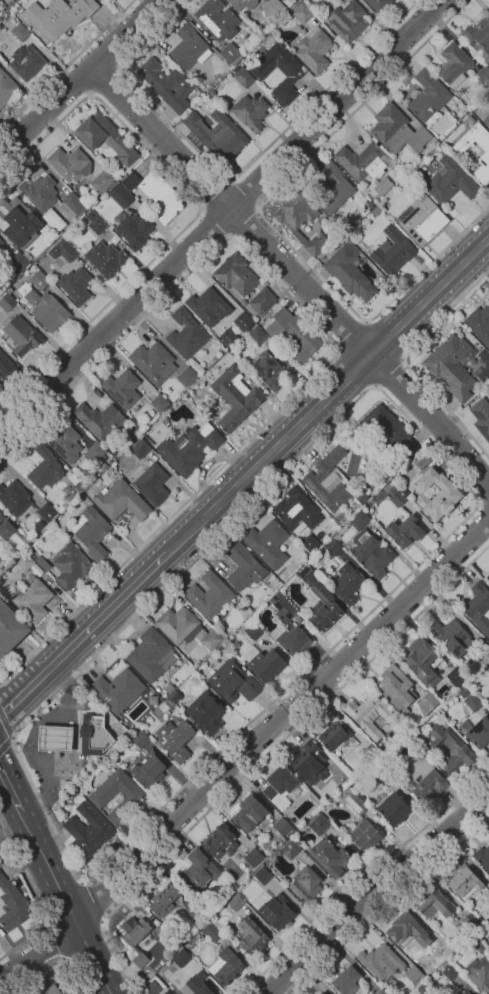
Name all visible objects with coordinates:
building: (8, 1)
building: (488, 1)
building: (289, 2)
building: (245, 4)
building: (378, 5)
building: (272, 11)
building: (302, 13)
building: (59, 16)
building: (216, 19)
building: (348, 21)
building: (20, 31)
building: (479, 37)
road: (112, 45)
building: (189, 48)
building: (314, 49)
building: (231, 54)
building: (26, 61)
building: (454, 64)
road: (66, 65)
building: (228, 65)
building: (294, 74)
building: (243, 77)
building: (483, 77)
road: (81, 78)
road: (104, 80)
road: (75, 81)
building: (166, 84)
building: (204, 86)
building: (7, 87)
building: (213, 93)
building: (428, 98)
building: (488, 110)
building: (250, 112)
building: (486, 121)
building: (397, 130)
building: (217, 134)
building: (105, 136)
road: (158, 140)
building: (438, 153)
building: (486, 154)
building: (362, 160)
building: (70, 164)
building: (118, 171)
road: (232, 176)
building: (102, 181)
building: (450, 181)
building: (405, 182)
building: (382, 186)
building: (332, 188)
building: (156, 193)
road: (214, 194)
road: (244, 194)
building: (120, 195)
building: (43, 199)
building: (75, 203)
road: (199, 208)
building: (376, 211)
road: (221, 215)
building: (17, 217)
building: (423, 220)
road: (264, 221)
building: (301, 221)
building: (95, 223)
road: (214, 223)
road: (242, 223)
building: (133, 229)
building: (1, 241)
building: (78, 241)
building: (31, 248)
building: (392, 251)
building: (104, 258)
building: (17, 263)
building: (349, 271)
building: (72, 273)
building: (238, 275)
building: (40, 280)
building: (9, 290)
building: (488, 298)
building: (262, 300)
building: (7, 302)
building: (208, 306)
building: (45, 308)
road: (444, 314)
building: (243, 320)
building: (479, 324)
building: (186, 333)
building: (21, 335)
building: (257, 336)
building: (294, 336)
road: (353, 336)
building: (230, 337)
road: (387, 338)
road: (360, 344)
road: (337, 349)
building: (153, 362)
building: (450, 366)
building: (6, 367)
building: (196, 367)
building: (268, 370)
road: (353, 371)
road: (389, 374)
building: (187, 376)
building: (122, 388)
road: (328, 396)
building: (236, 397)
building: (160, 403)
road: (446, 407)
building: (136, 408)
building: (481, 417)
building: (100, 420)
building: (397, 434)
building: (64, 440)
building: (141, 448)
building: (189, 448)
building: (228, 448)
building: (95, 453)
building: (115, 454)
building: (424, 462)
building: (114, 463)
building: (104, 465)
building: (45, 468)
building: (113, 474)
building: (76, 481)
building: (151, 482)
building: (335, 483)
building: (436, 493)
road: (483, 499)
building: (16, 500)
building: (121, 500)
building: (396, 500)
building: (296, 511)
road: (483, 511)
building: (47, 512)
building: (360, 520)
building: (5, 528)
building: (92, 531)
building: (404, 531)
building: (26, 539)
building: (269, 543)
building: (310, 543)
building: (333, 546)
building: (370, 552)
building: (25, 561)
building: (43, 562)
building: (71, 565)
building: (244, 567)
building: (486, 577)
building: (348, 583)
building: (209, 595)
building: (33, 599)
building: (320, 601)
building: (478, 607)
building: (283, 608)
building: (250, 618)
building: (186, 628)
building: (10, 629)
building: (254, 630)
road: (83, 635)
building: (452, 637)
building: (292, 639)
building: (221, 649)
building: (151, 655)
building: (422, 661)
building: (266, 664)
building: (488, 674)
building: (456, 676)
building: (194, 680)
building: (233, 682)
building: (396, 688)
building: (118, 690)
building: (174, 695)
building: (488, 700)
building: (473, 702)
building: (427, 703)
building: (162, 708)
building: (206, 712)
building: (369, 714)
road: (7, 722)
building: (479, 733)
building: (94, 734)
building: (413, 735)
building: (335, 736)
building: (54, 738)
gas station: (54, 738)
building: (140, 738)
building: (175, 739)
building: (451, 748)
road: (245, 752)
road: (265, 756)
building: (307, 759)
road: (19, 760)
building: (147, 769)
building: (383, 775)
building: (347, 777)
building: (423, 777)
building: (281, 787)
road: (11, 788)
building: (73, 792)
building: (127, 803)
building: (355, 803)
building: (394, 808)
building: (249, 813)
building: (319, 824)
building: (283, 826)
building: (88, 832)
building: (364, 835)
building: (220, 841)
building: (290, 849)
building: (254, 857)
building: (330, 857)
building: (483, 857)
building: (198, 871)
building: (263, 875)
road: (363, 878)
building: (464, 882)
building: (306, 884)
building: (232, 886)
road: (381, 892)
building: (488, 892)
road: (36, 899)
road: (93, 900)
building: (163, 900)
building: (235, 902)
road: (65, 903)
road: (388, 903)
building: (435, 904)
building: (11, 906)
building: (194, 909)
building: (277, 911)
building: (470, 921)
building: (210, 931)
building: (416, 933)
building: (252, 935)
building: (135, 939)
road: (52, 944)
building: (481, 947)
building: (181, 957)
building: (382, 962)
road: (51, 966)
building: (226, 966)
building: (413, 972)
building: (451, 972)
building: (479, 973)
building: (347, 980)
building: (199, 984)
building: (153, 988)
building: (51, 990)
building: (166, 992)
building: (67, 993)
building: (321, 993)
building: (468, 993)

